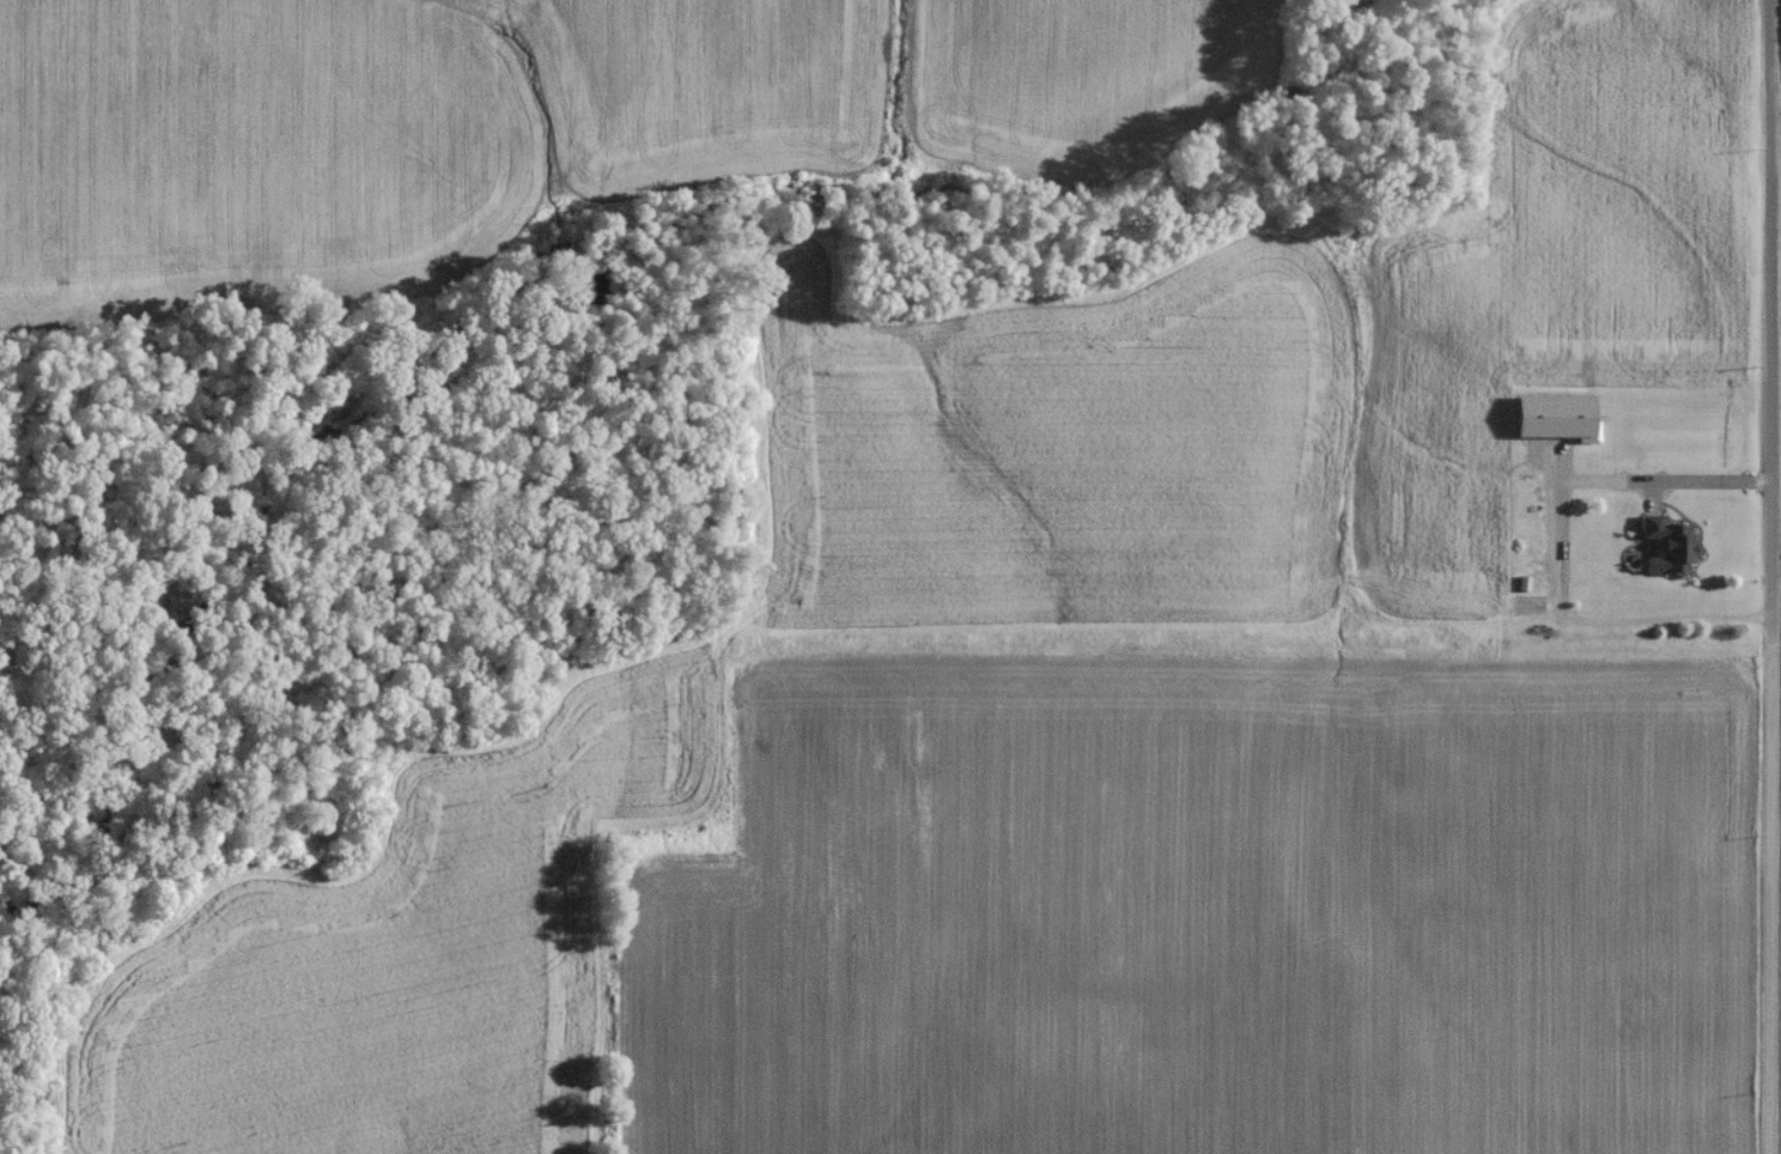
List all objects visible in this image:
building: (1659, 552)
road: (1780, 577)

